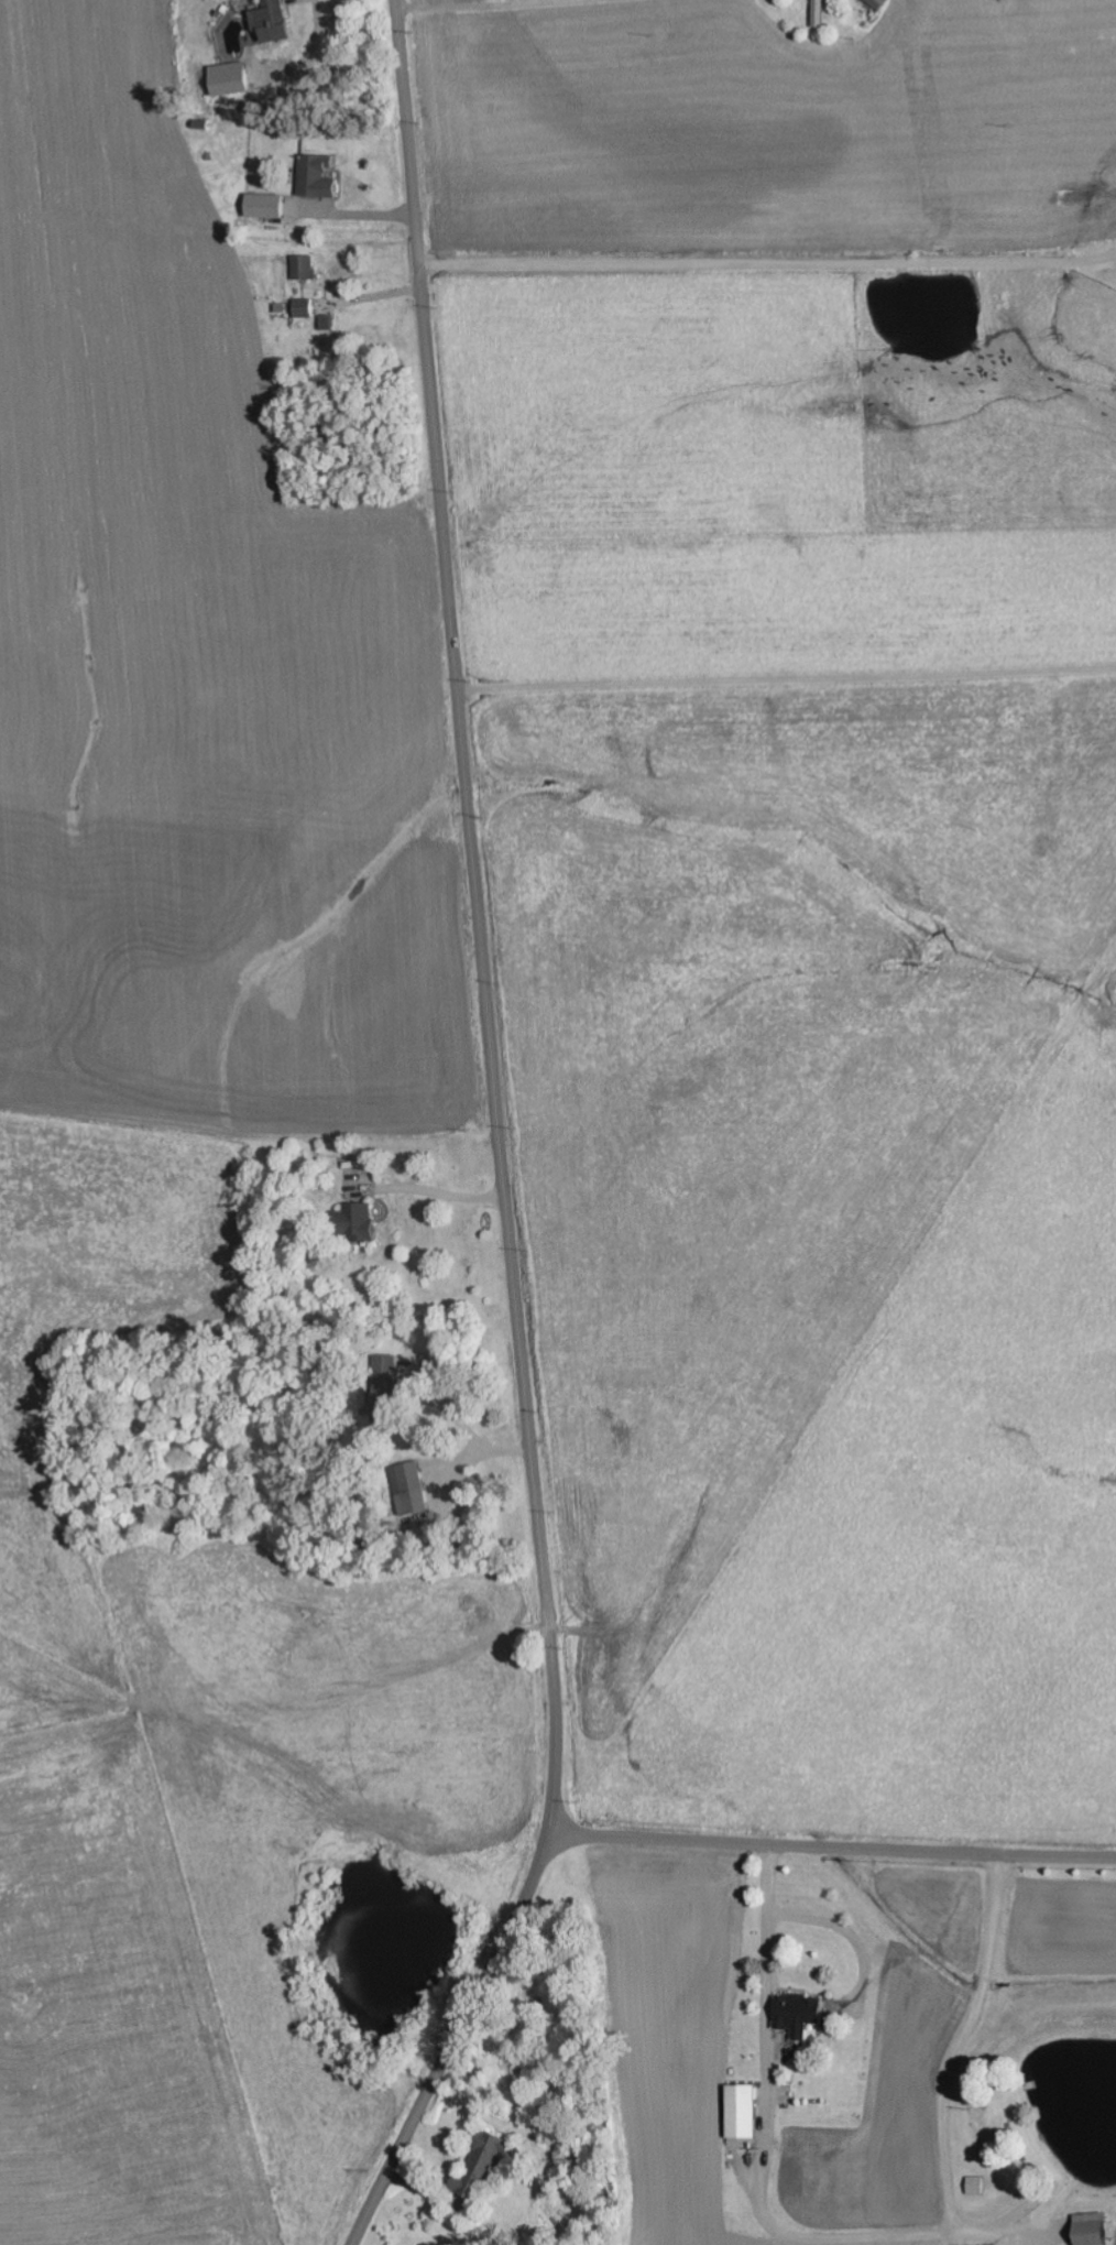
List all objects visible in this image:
building: (821, 13)
building: (269, 23)
building: (229, 79)
building: (317, 176)
building: (264, 205)
road: (358, 216)
road: (765, 220)
building: (304, 266)
building: (304, 308)
road: (997, 465)
road: (500, 1144)
road: (441, 1192)
building: (355, 1222)
building: (412, 1489)
road: (831, 1851)
building: (799, 2016)
building: (743, 2113)
building: (482, 2166)
building: (976, 2187)
building: (1091, 2230)

